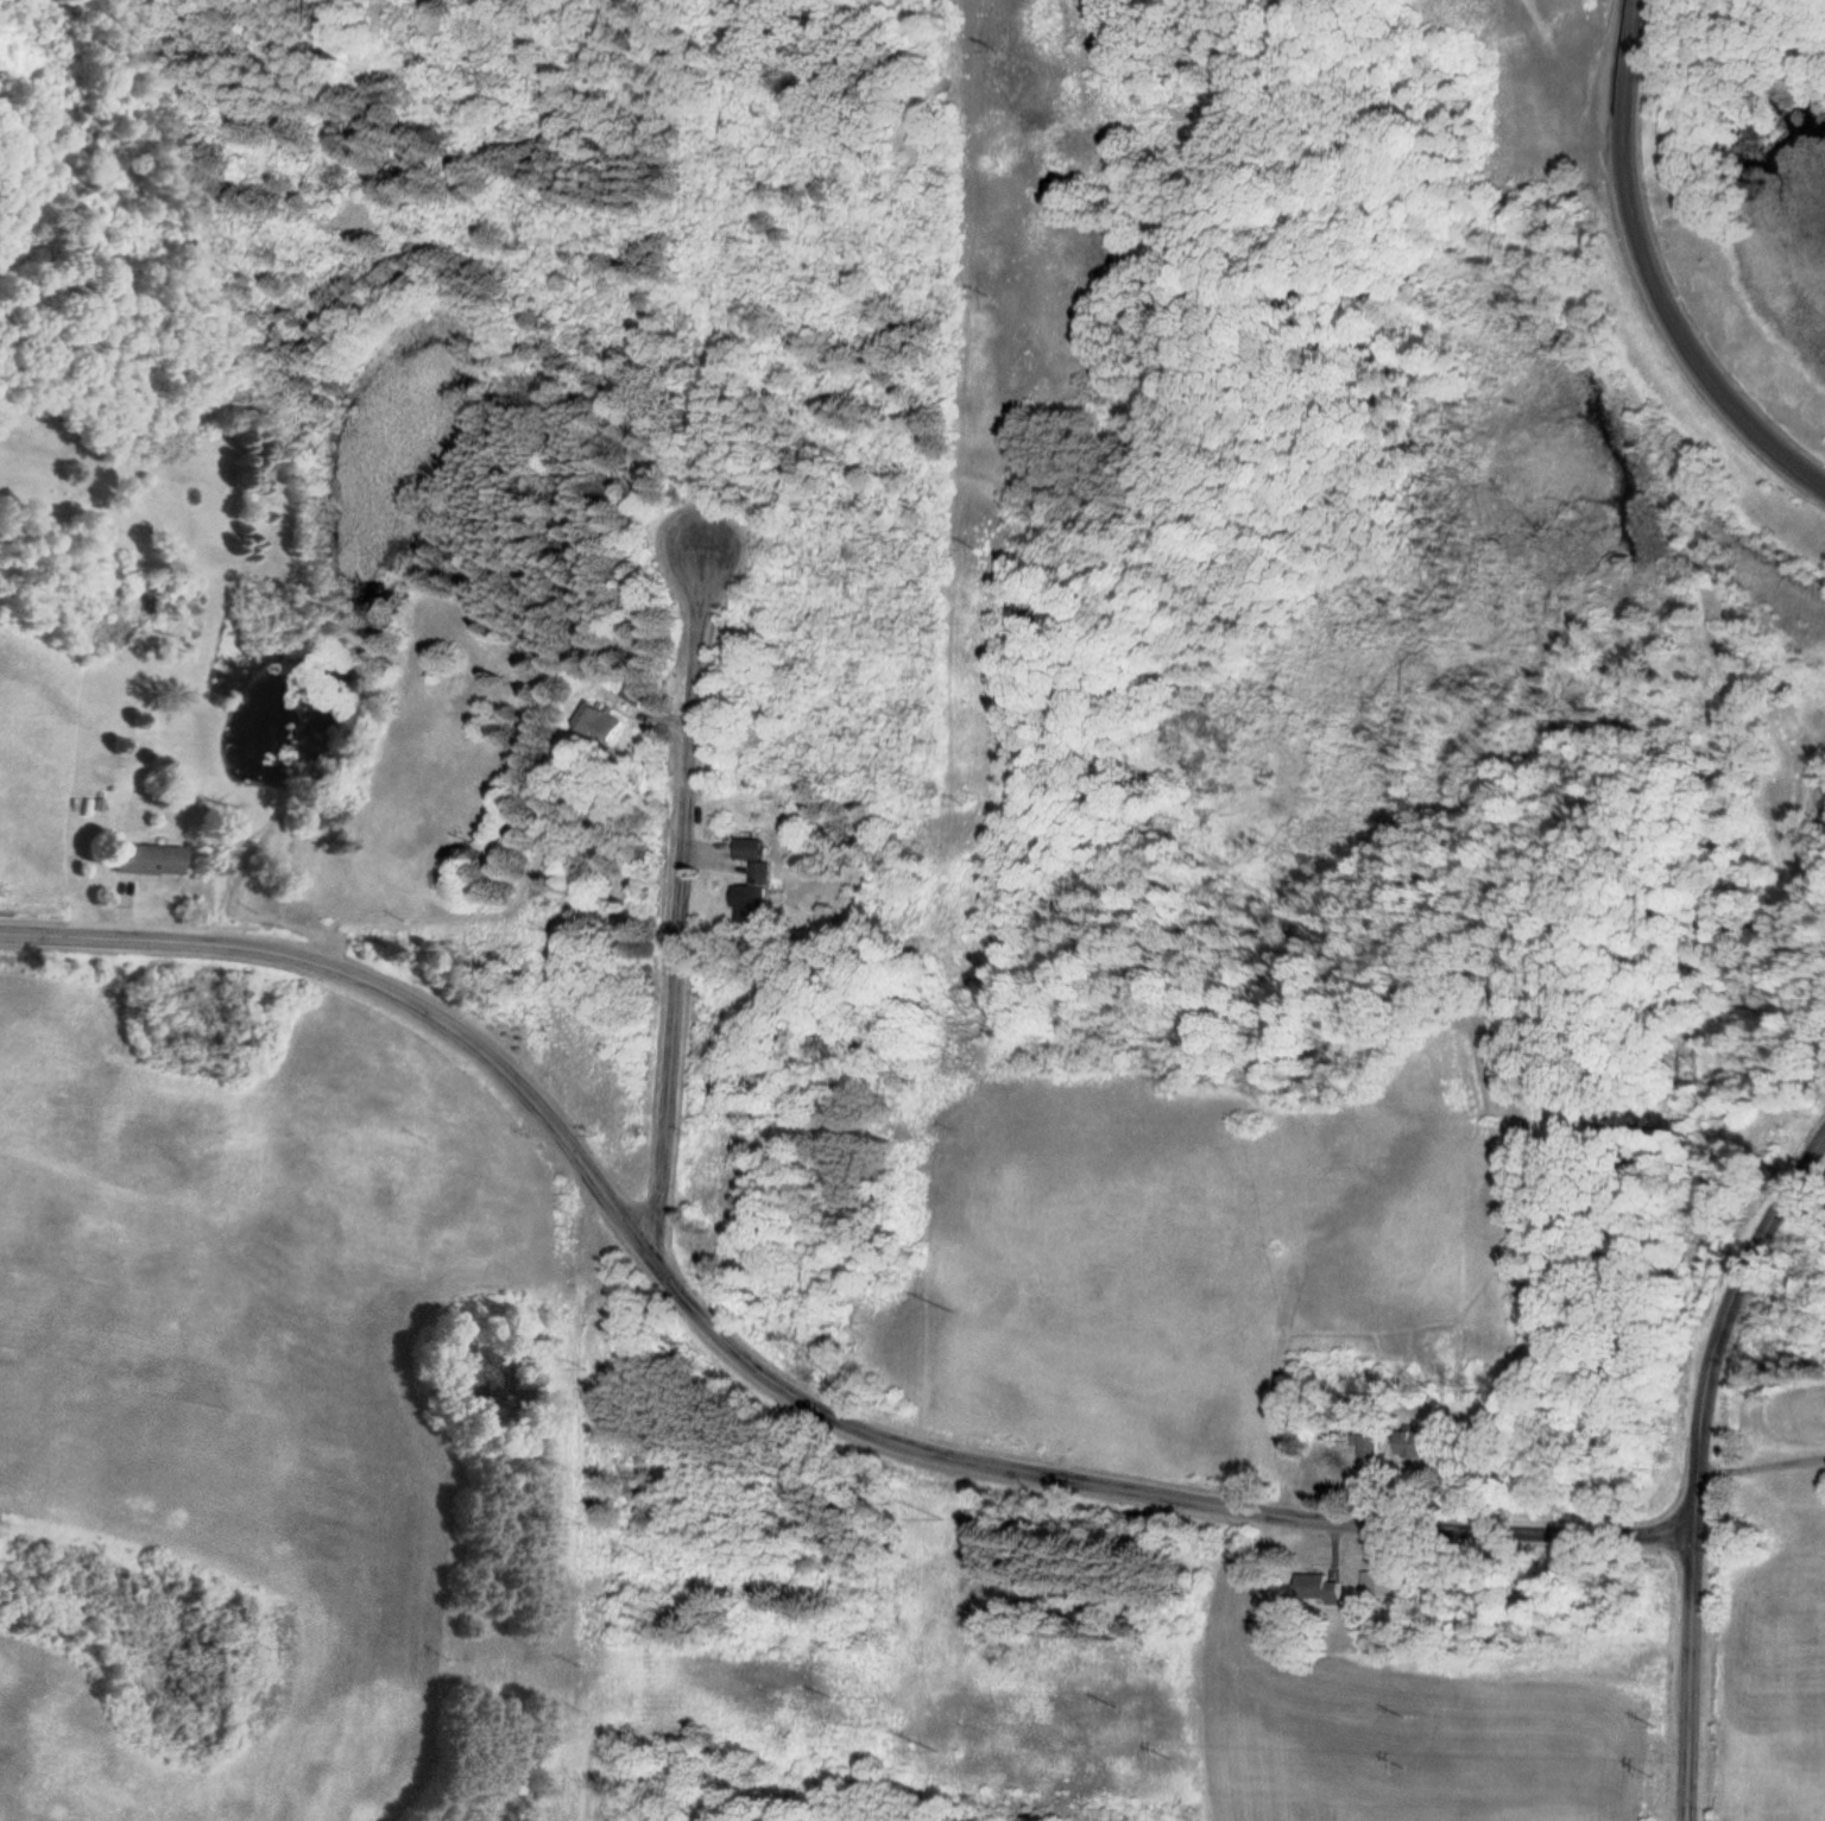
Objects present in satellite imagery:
road: (1625, 42)
road: (1662, 320)
road: (1672, 486)
building: (632, 694)
building: (596, 722)
building: (747, 845)
building: (143, 860)
building: (756, 892)
road: (680, 910)
road: (1747, 1259)
road: (764, 1383)
building: (1414, 1444)
building: (1368, 1447)
building: (1379, 1583)
building: (1318, 1589)
road: (1688, 1608)

